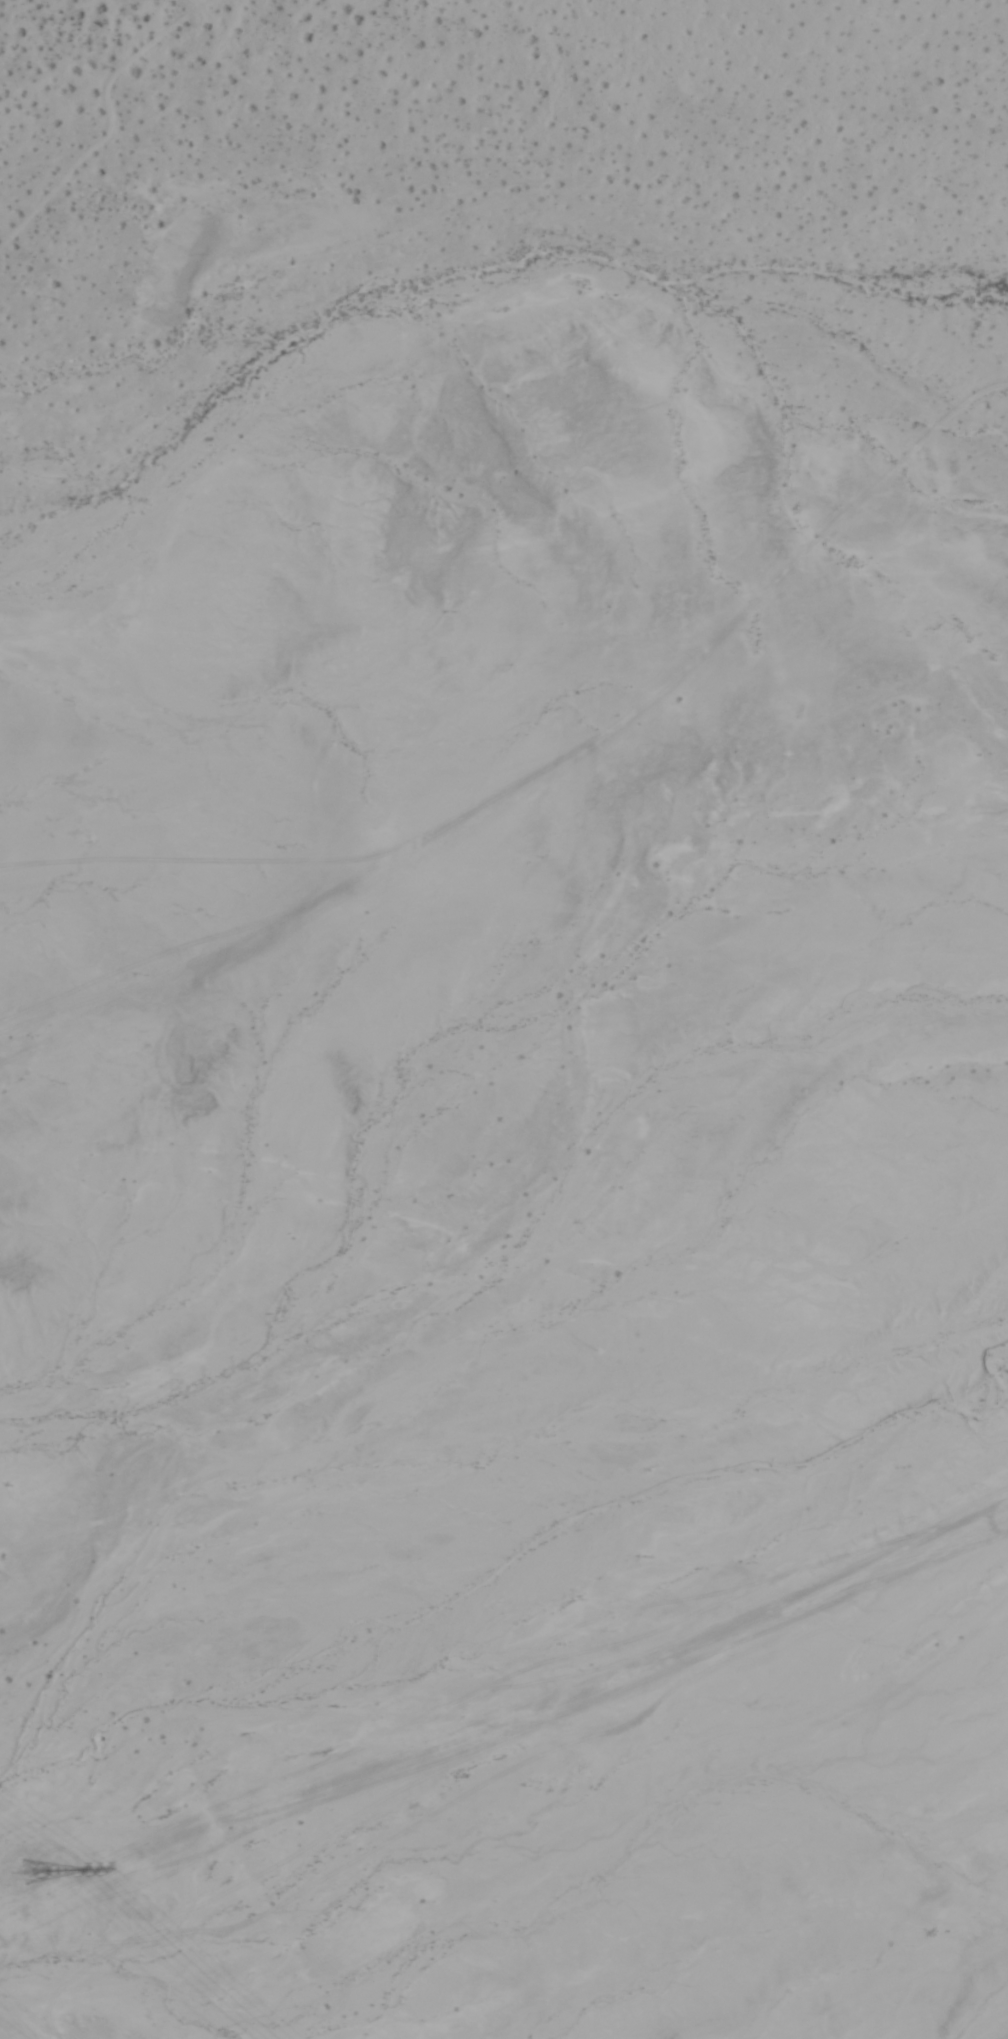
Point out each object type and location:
power tower: (27, 1877)

